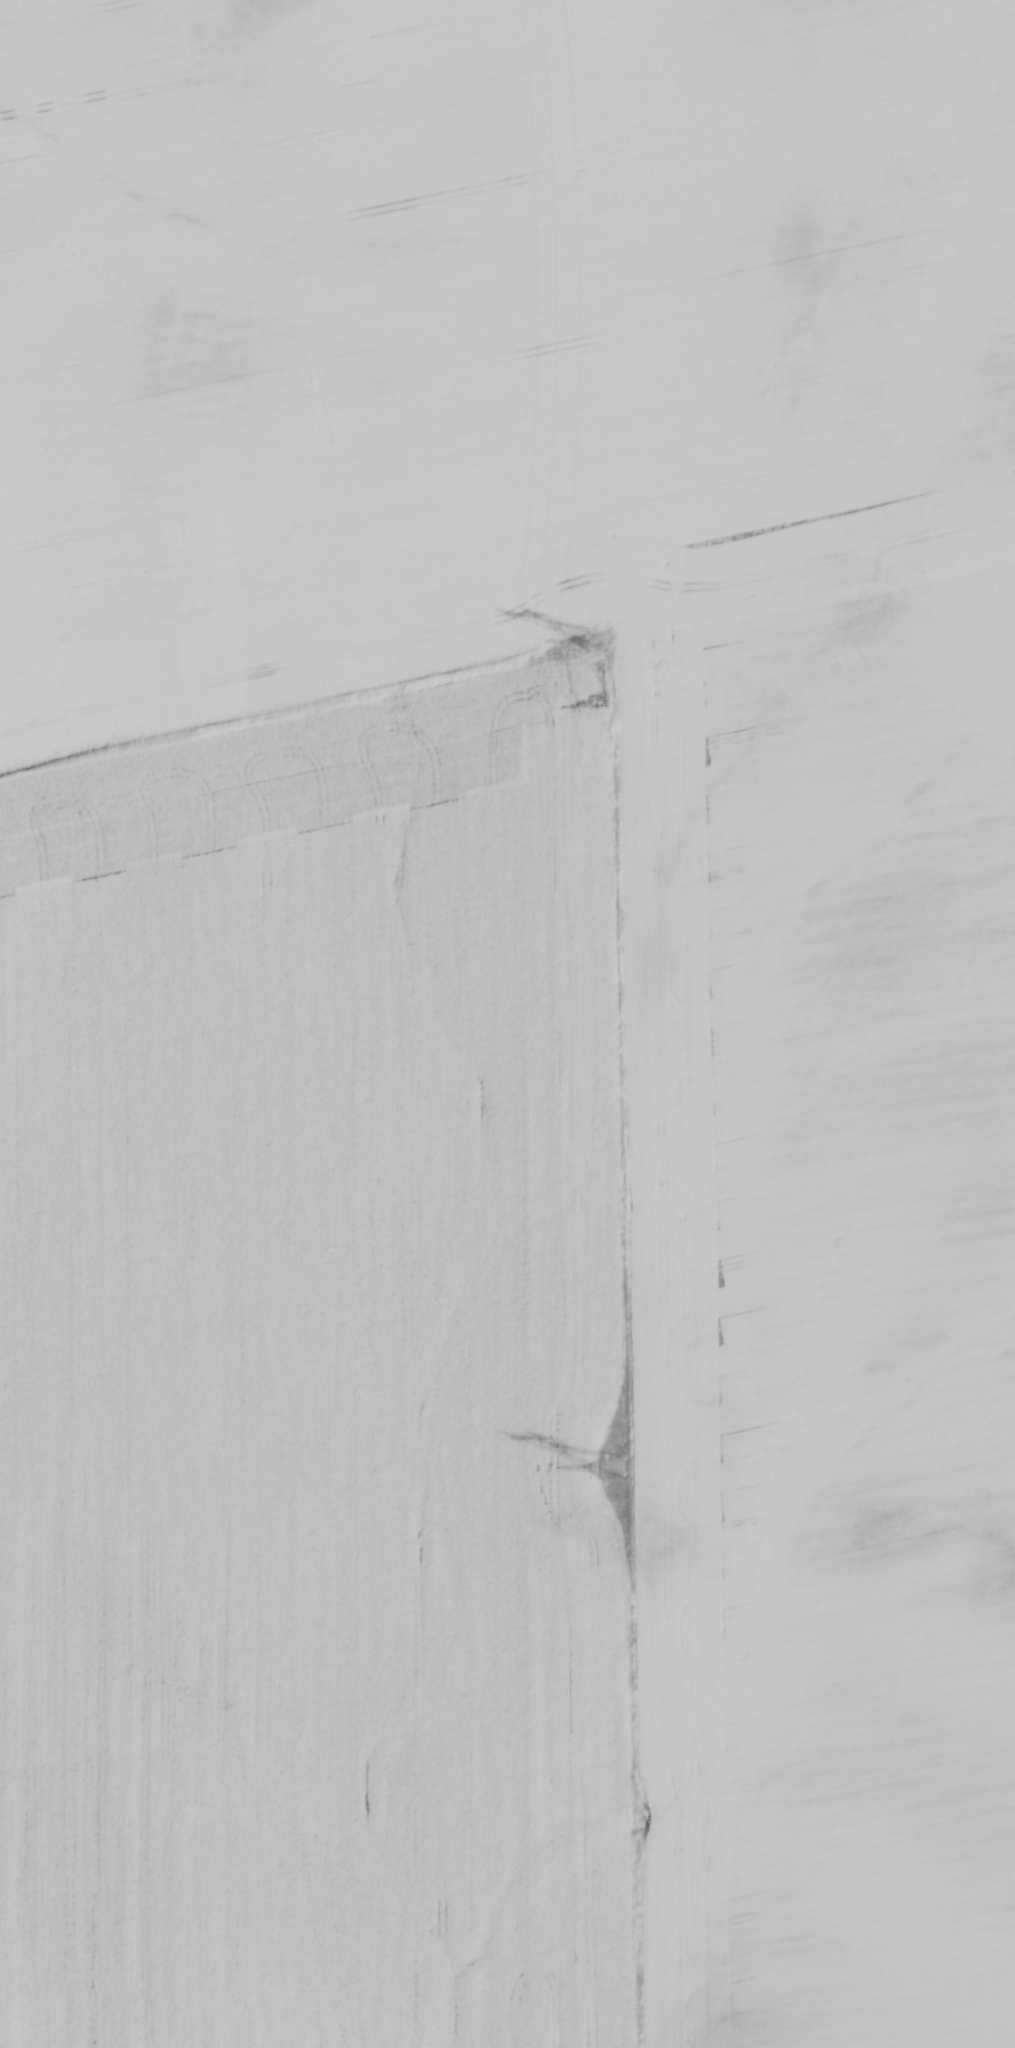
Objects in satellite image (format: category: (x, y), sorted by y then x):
power tower: (593, 640)
power tower: (612, 1469)

